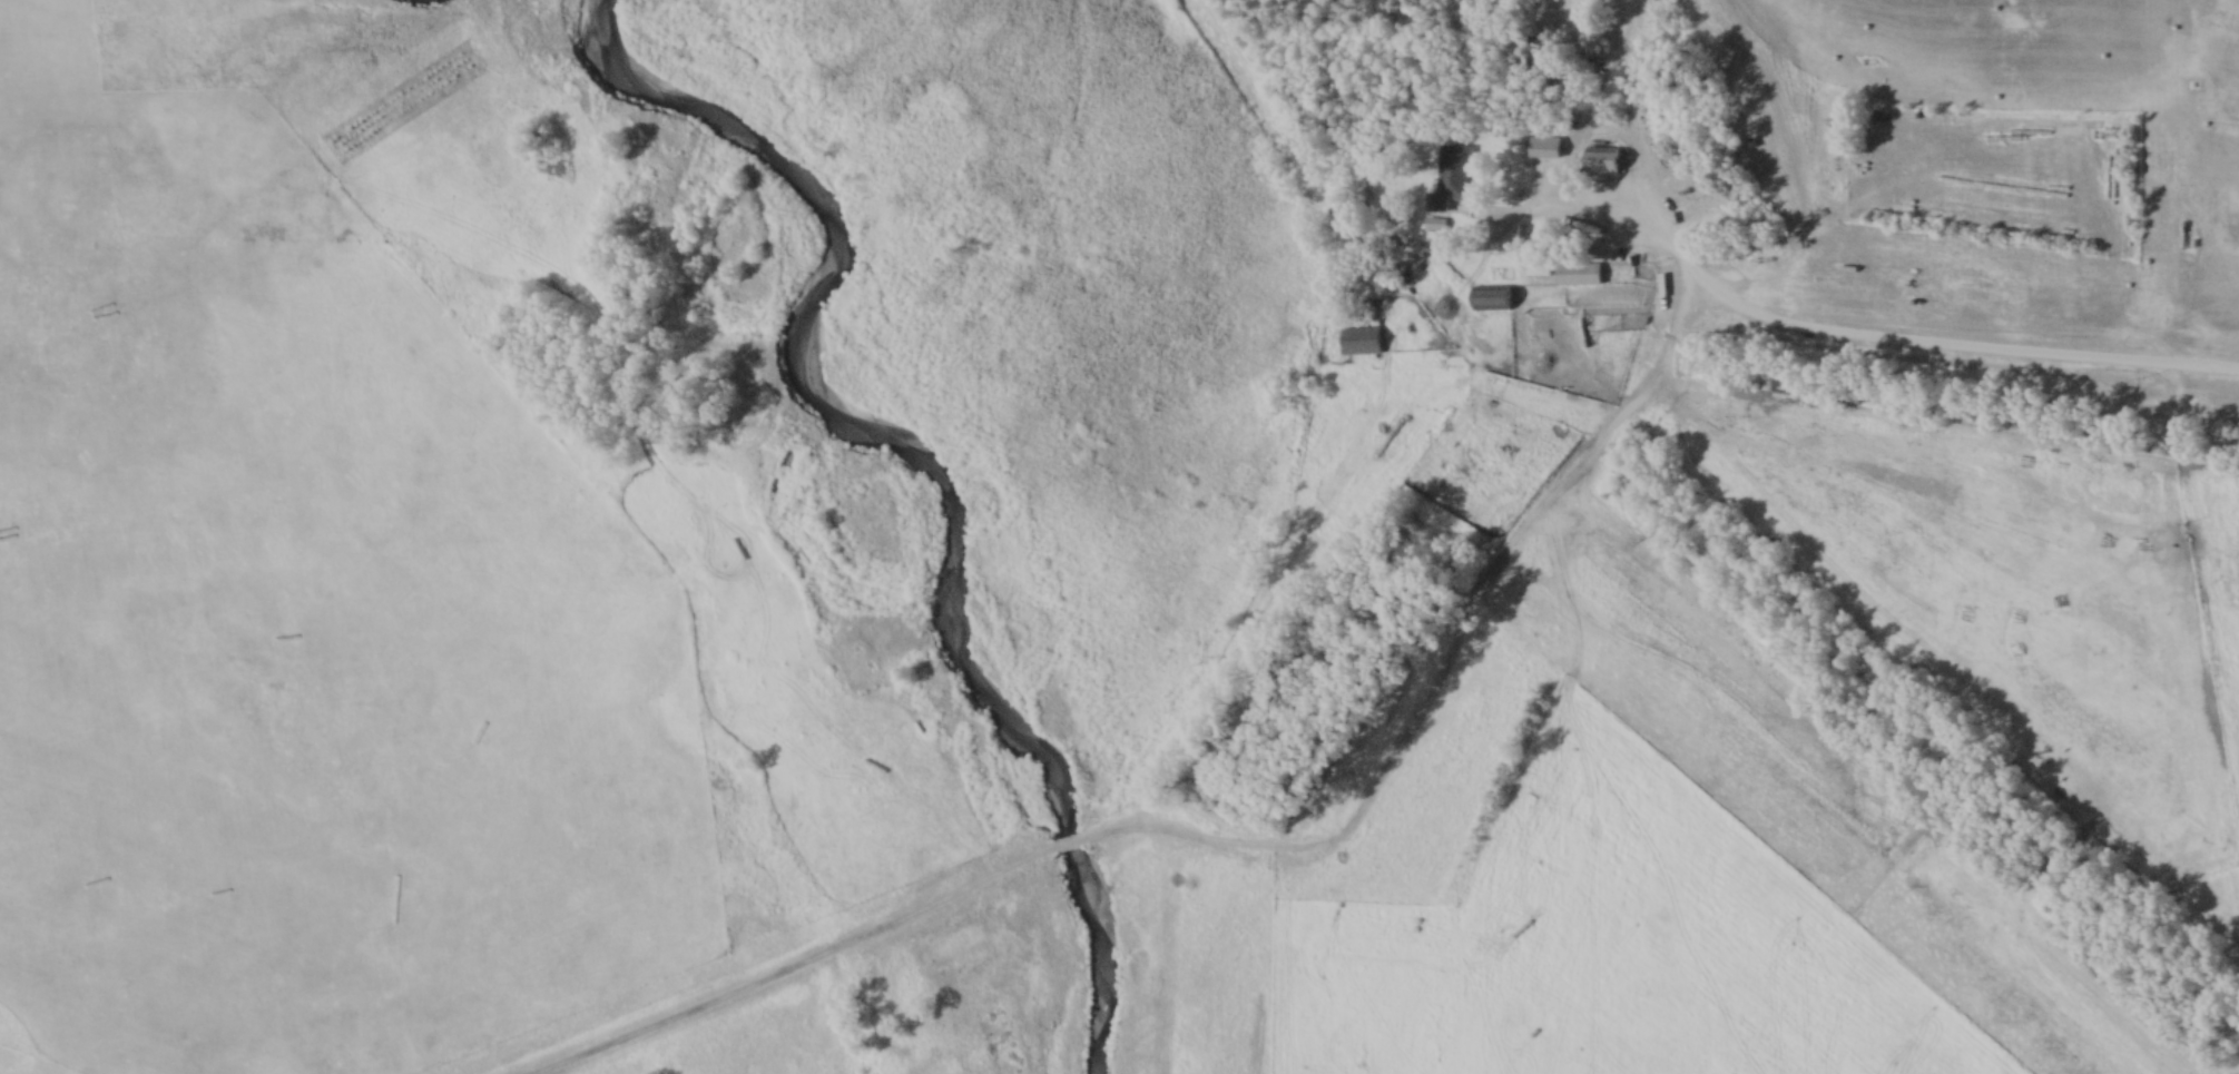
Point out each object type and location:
building: (1545, 148)
building: (1611, 159)
building: (1449, 175)
building: (1577, 274)
building: (1491, 298)
building: (1359, 342)
road: (1908, 342)
river: (919, 483)
road: (1433, 662)
road: (1064, 843)
road: (794, 965)

